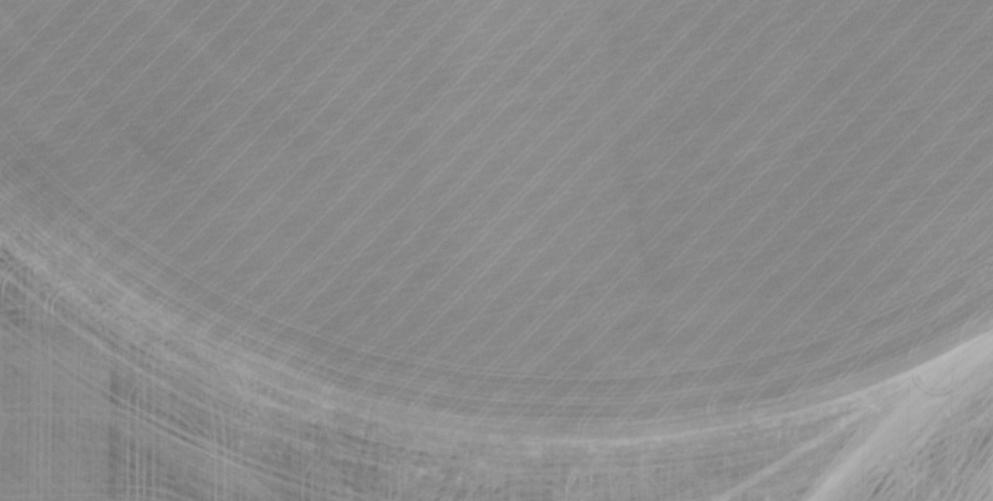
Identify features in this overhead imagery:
crop: (522, 191)

